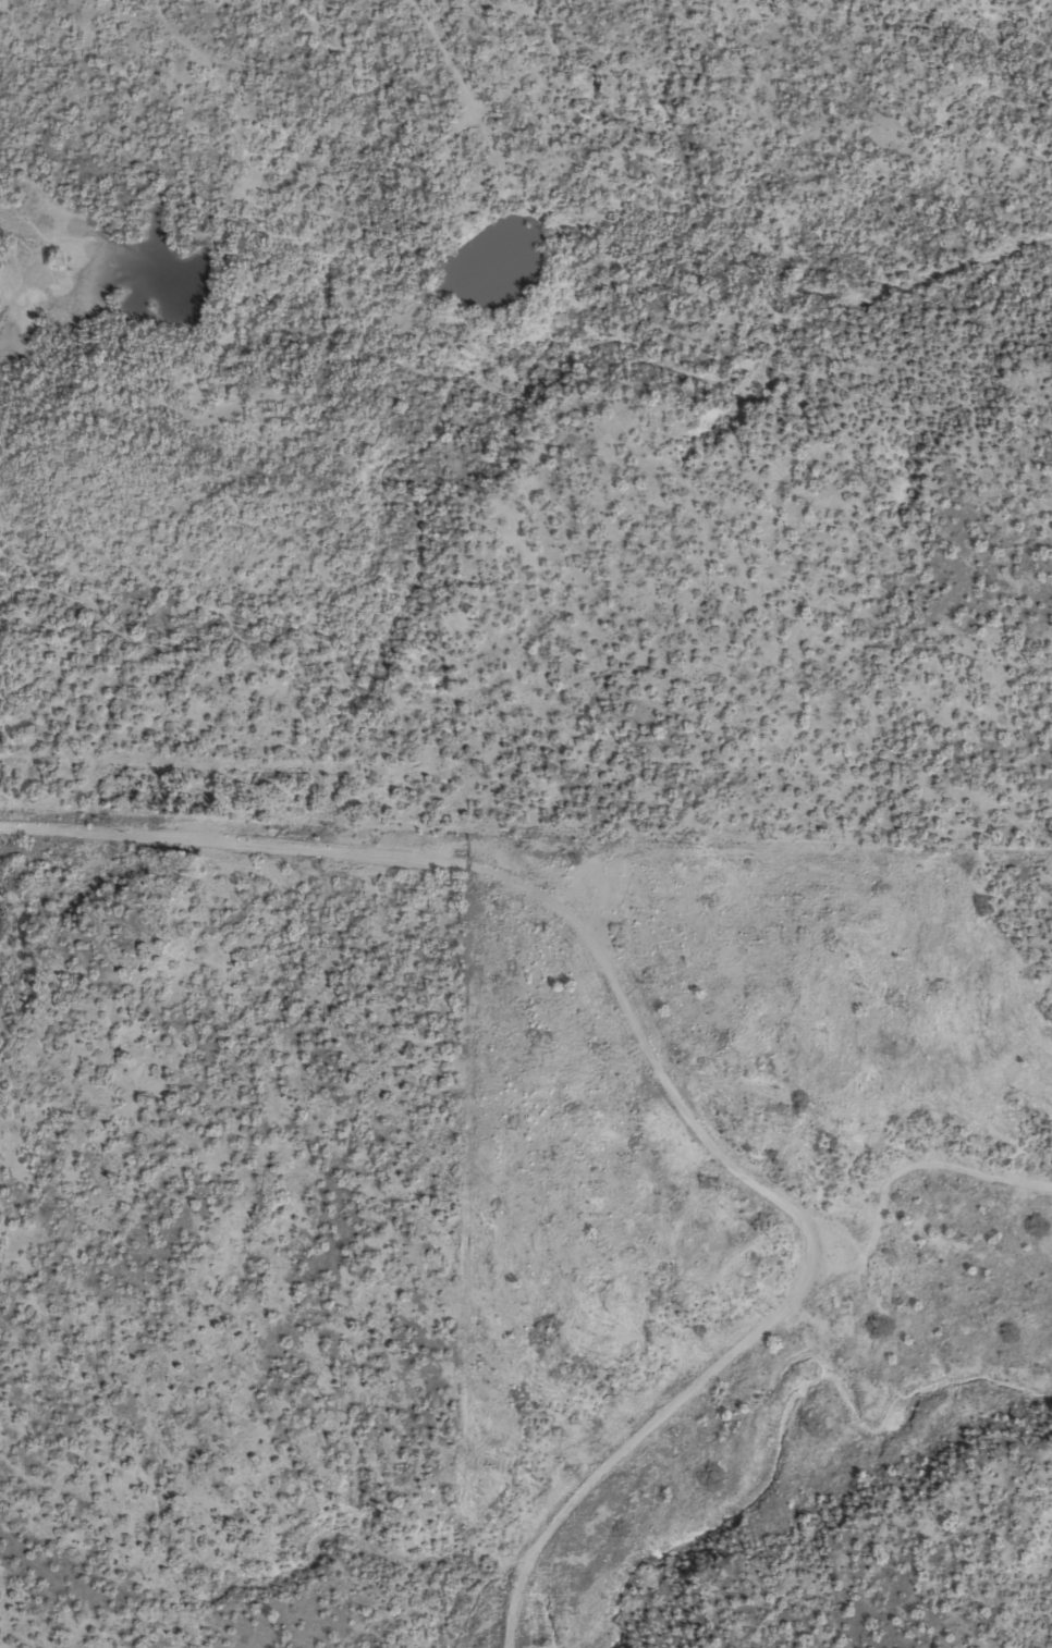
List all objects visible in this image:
road: (658, 1067)

